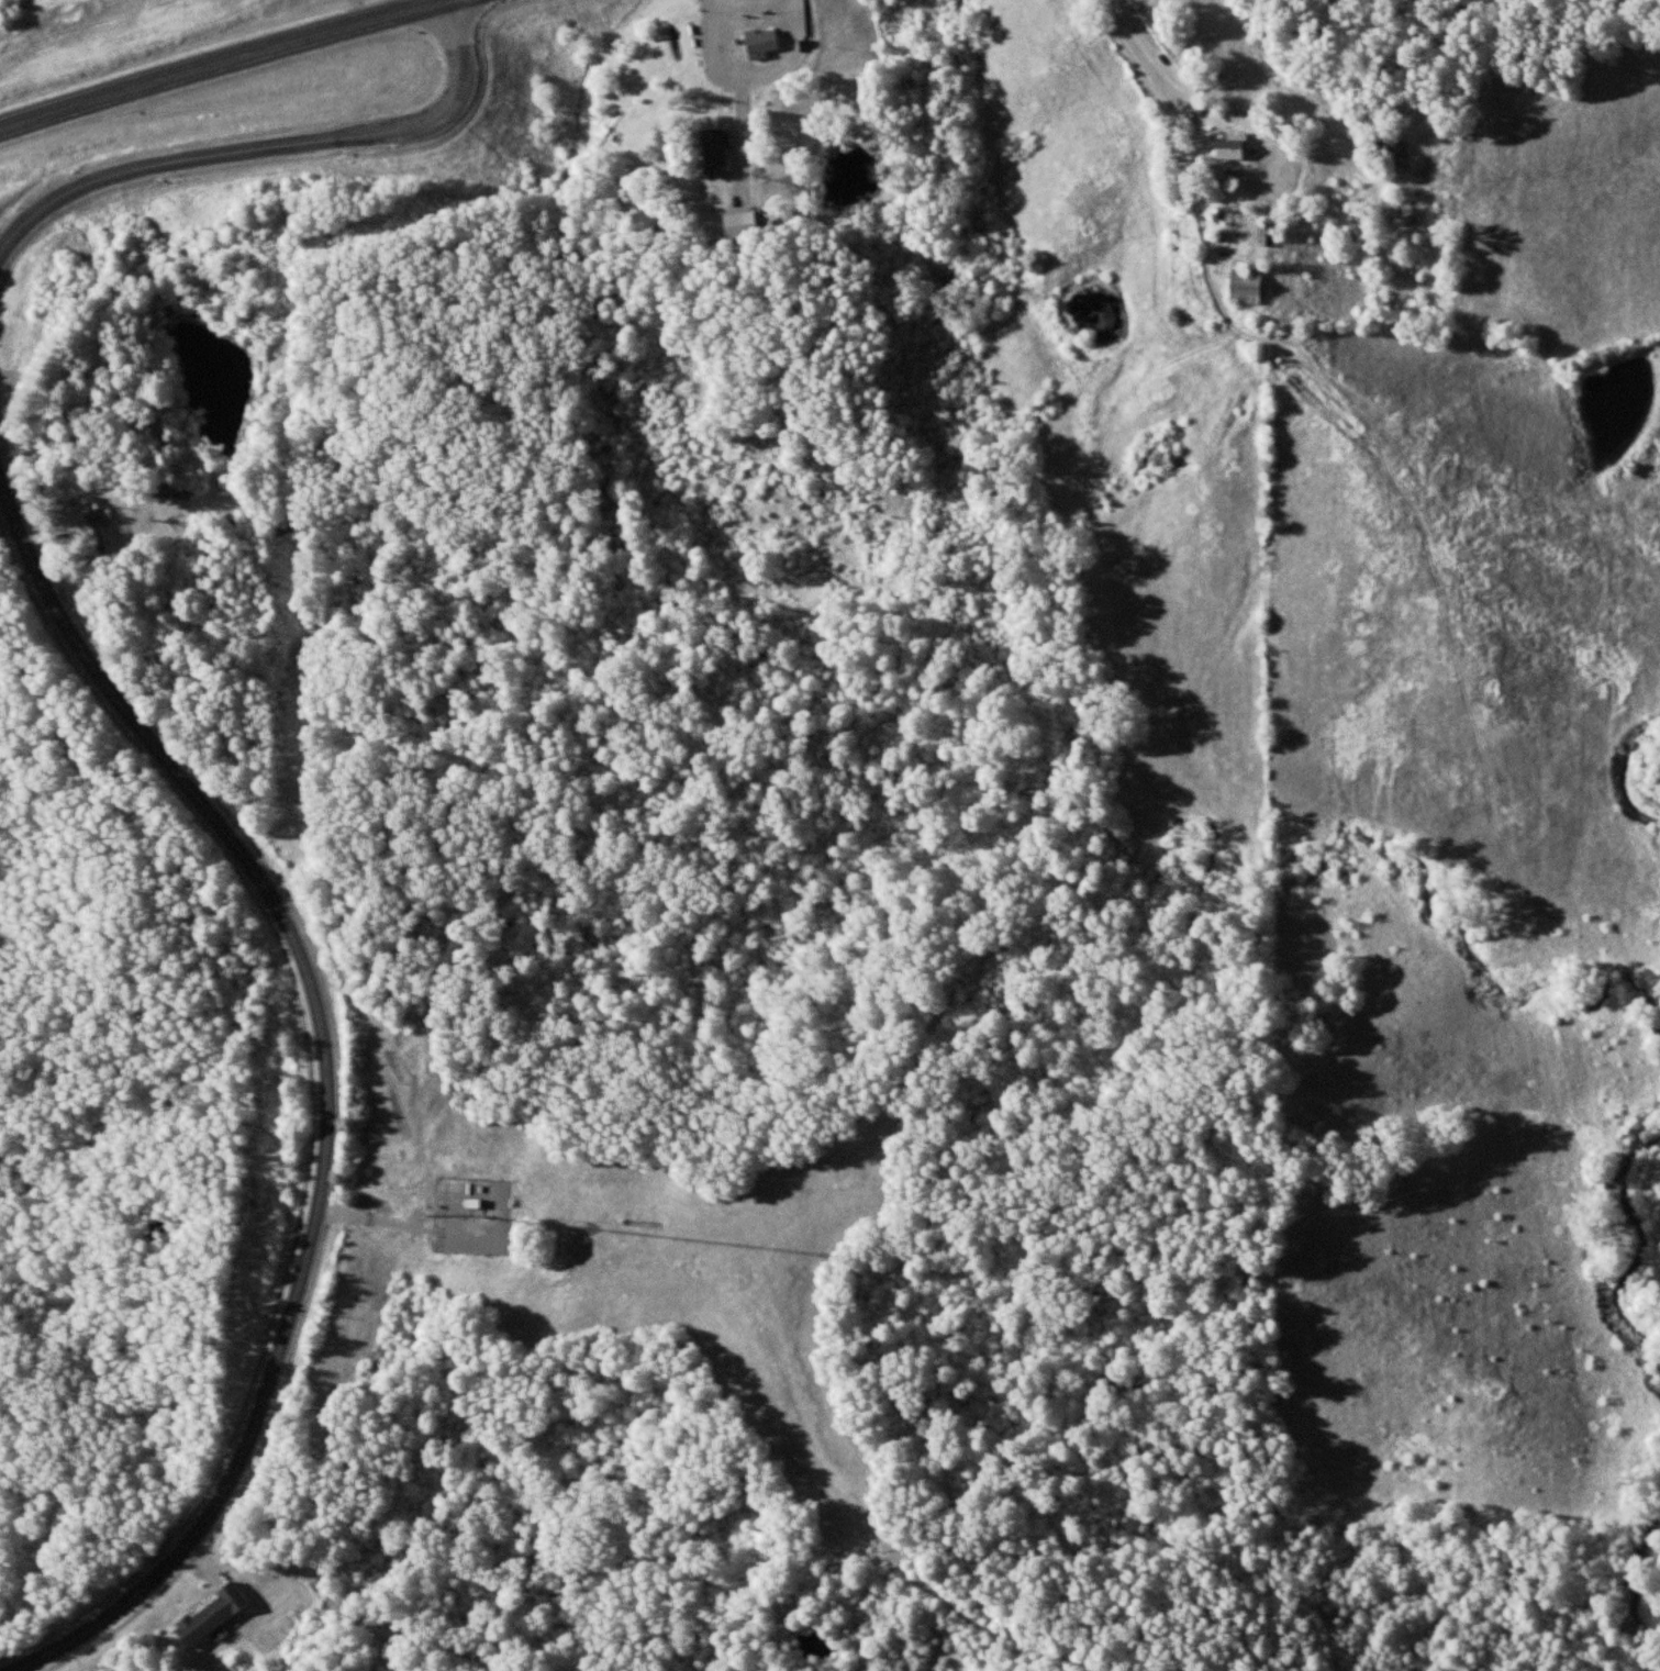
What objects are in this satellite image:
road: (759, 1)
building: (764, 42)
road: (1143, 48)
road: (207, 63)
road: (735, 68)
road: (1286, 79)
road: (267, 141)
building: (1235, 146)
building: (716, 151)
building: (744, 224)
building: (1267, 234)
building: (1247, 287)
building: (96, 524)
road: (327, 1090)
building: (213, 1614)
road: (11, 1668)

